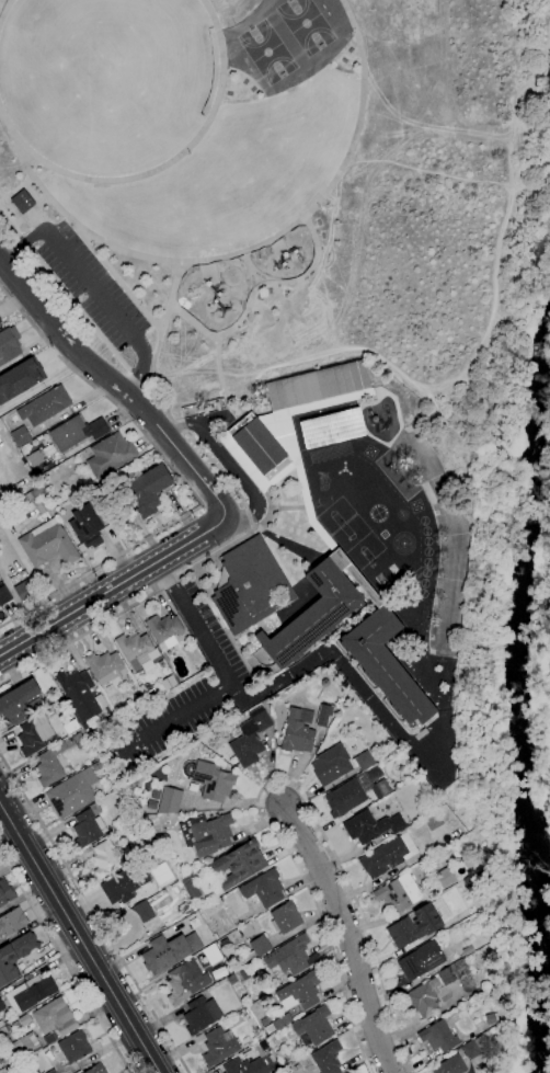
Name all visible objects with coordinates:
road: (4, 8)
park: (305, 25)
park: (266, 54)
road: (161, 167)
park: (283, 187)
road: (15, 189)
building: (22, 202)
road: (294, 226)
road: (18, 243)
road: (85, 246)
road: (298, 281)
road: (106, 306)
road: (244, 312)
road: (164, 318)
road: (192, 320)
building: (0, 321)
building: (8, 344)
road: (218, 373)
building: (20, 379)
road: (116, 386)
road: (169, 396)
building: (44, 406)
building: (2, 416)
road: (179, 424)
building: (76, 432)
building: (20, 436)
building: (110, 455)
building: (34, 458)
road: (227, 466)
road: (215, 468)
road: (181, 480)
building: (149, 490)
building: (27, 496)
building: (42, 507)
road: (247, 516)
park: (341, 524)
building: (85, 526)
building: (321, 536)
building: (47, 544)
park: (363, 551)
building: (248, 585)
road: (114, 587)
building: (24, 591)
building: (3, 592)
road: (126, 606)
building: (163, 629)
building: (134, 650)
building: (103, 666)
road: (286, 675)
building: (167, 683)
building: (324, 683)
river: (523, 693)
building: (79, 695)
building: (149, 696)
building: (137, 700)
building: (16, 703)
building: (323, 716)
road: (179, 718)
building: (111, 719)
building: (70, 726)
building: (84, 726)
building: (297, 731)
building: (34, 734)
building: (250, 738)
building: (78, 740)
building: (364, 761)
building: (95, 765)
building: (330, 765)
building: (49, 766)
building: (213, 780)
road: (279, 780)
building: (192, 787)
building: (379, 789)
building: (70, 795)
building: (122, 798)
building: (344, 798)
building: (168, 800)
building: (432, 821)
building: (88, 826)
building: (369, 826)
building: (206, 833)
building: (388, 855)
building: (103, 859)
building: (237, 865)
building: (445, 877)
building: (472, 883)
building: (124, 884)
building: (190, 888)
building: (263, 888)
building: (5, 892)
building: (398, 893)
building: (140, 909)
road: (92, 916)
building: (284, 917)
building: (12, 922)
building: (414, 926)
building: (214, 927)
building: (245, 929)
road: (80, 937)
road: (347, 937)
building: (255, 948)
building: (168, 951)
building: (211, 954)
building: (14, 955)
building: (290, 956)
building: (420, 960)
road: (64, 963)
building: (452, 972)
building: (231, 979)
building: (185, 981)
building: (301, 991)
building: (33, 992)
building: (491, 995)
building: (424, 998)
building: (1, 1006)
building: (199, 1015)
building: (55, 1017)
building: (490, 1018)
building: (23, 1019)
building: (275, 1024)
building: (15, 1025)
building: (313, 1026)
building: (3, 1031)
building: (438, 1037)
building: (48, 1039)
building: (25, 1046)
building: (218, 1046)
building: (474, 1046)
building: (73, 1047)
building: (279, 1054)
building: (326, 1058)
building: (7, 1060)
building: (449, 1065)
building: (243, 1066)
building: (96, 1069)
building: (15, 1071)
building: (50, 1071)

